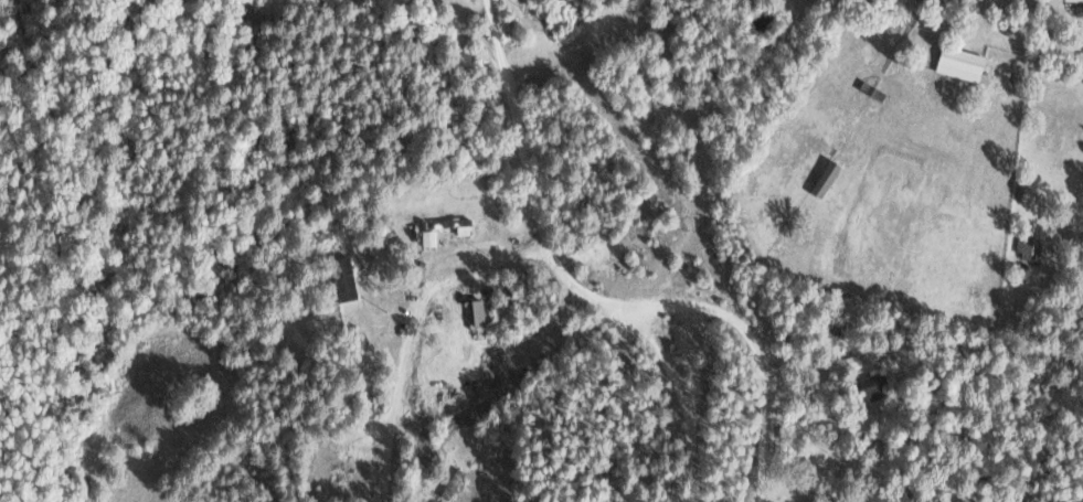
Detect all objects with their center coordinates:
building: (1073, 0)
building: (959, 63)
building: (825, 177)
building: (457, 224)
building: (428, 237)
building: (1030, 245)
building: (342, 278)
road: (610, 292)
building: (475, 310)
building: (872, 385)
building: (452, 482)

